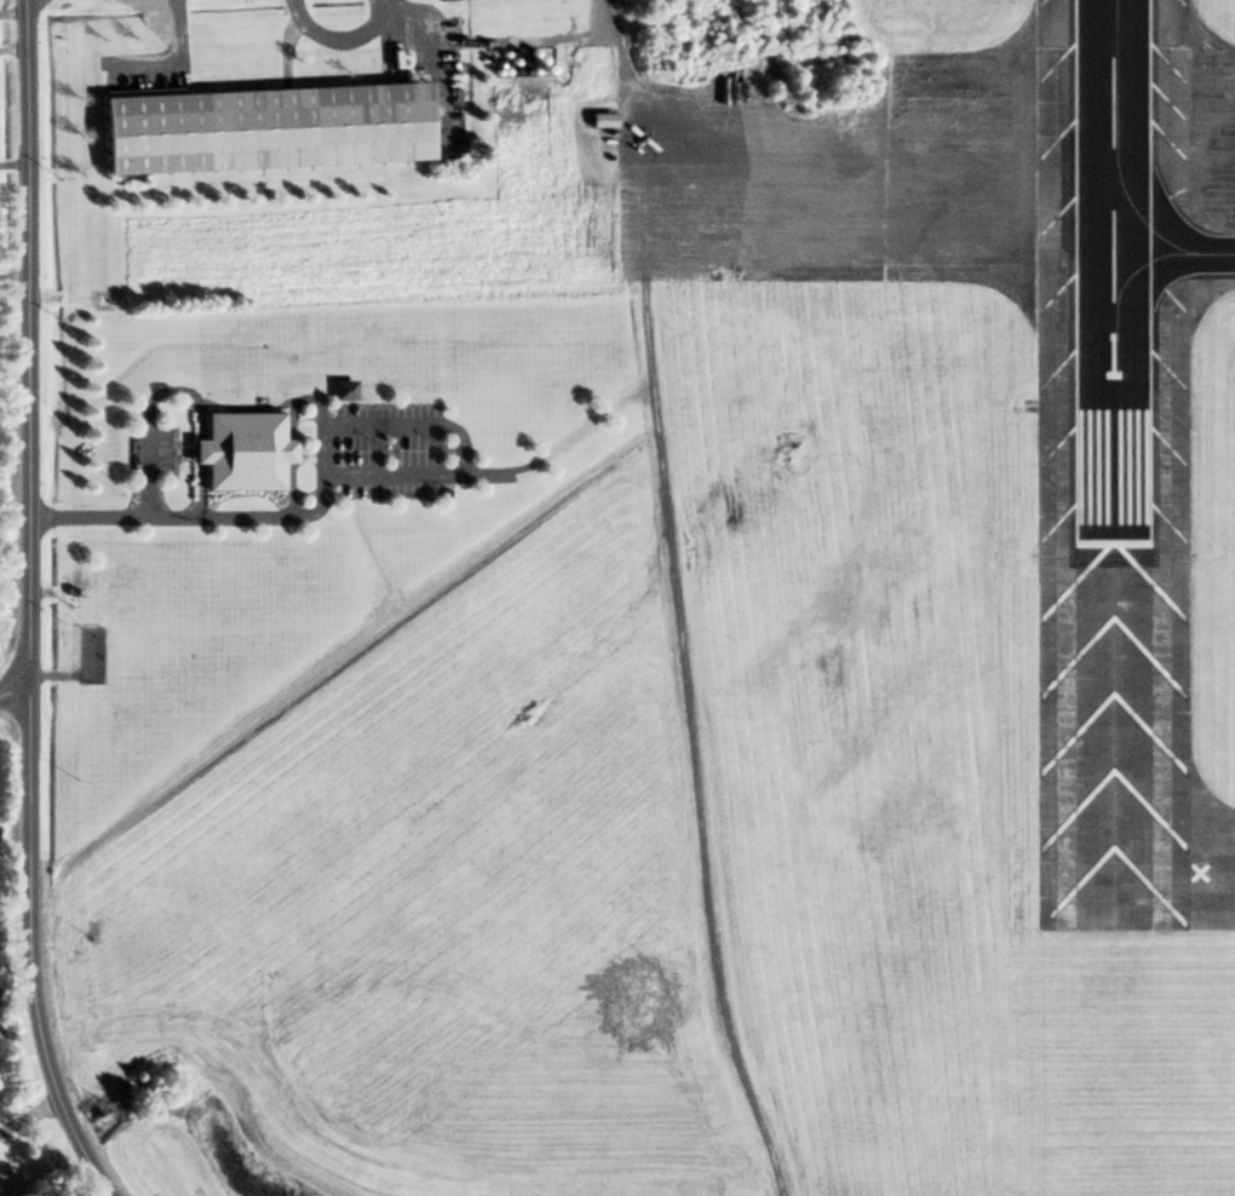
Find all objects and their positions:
road: (340, 42)
road: (178, 61)
building: (263, 127)
airport taxiway: (1173, 253)
airport runway: (1113, 270)
building: (343, 390)
road: (463, 450)
parking lot: (389, 452)
building: (243, 454)
parking lot: (149, 455)
road: (147, 462)
road: (218, 518)
road: (671, 600)
road: (28, 605)
airport: (699, 668)
road: (13, 690)
airport taxiway: (1114, 766)
road: (29, 1117)

